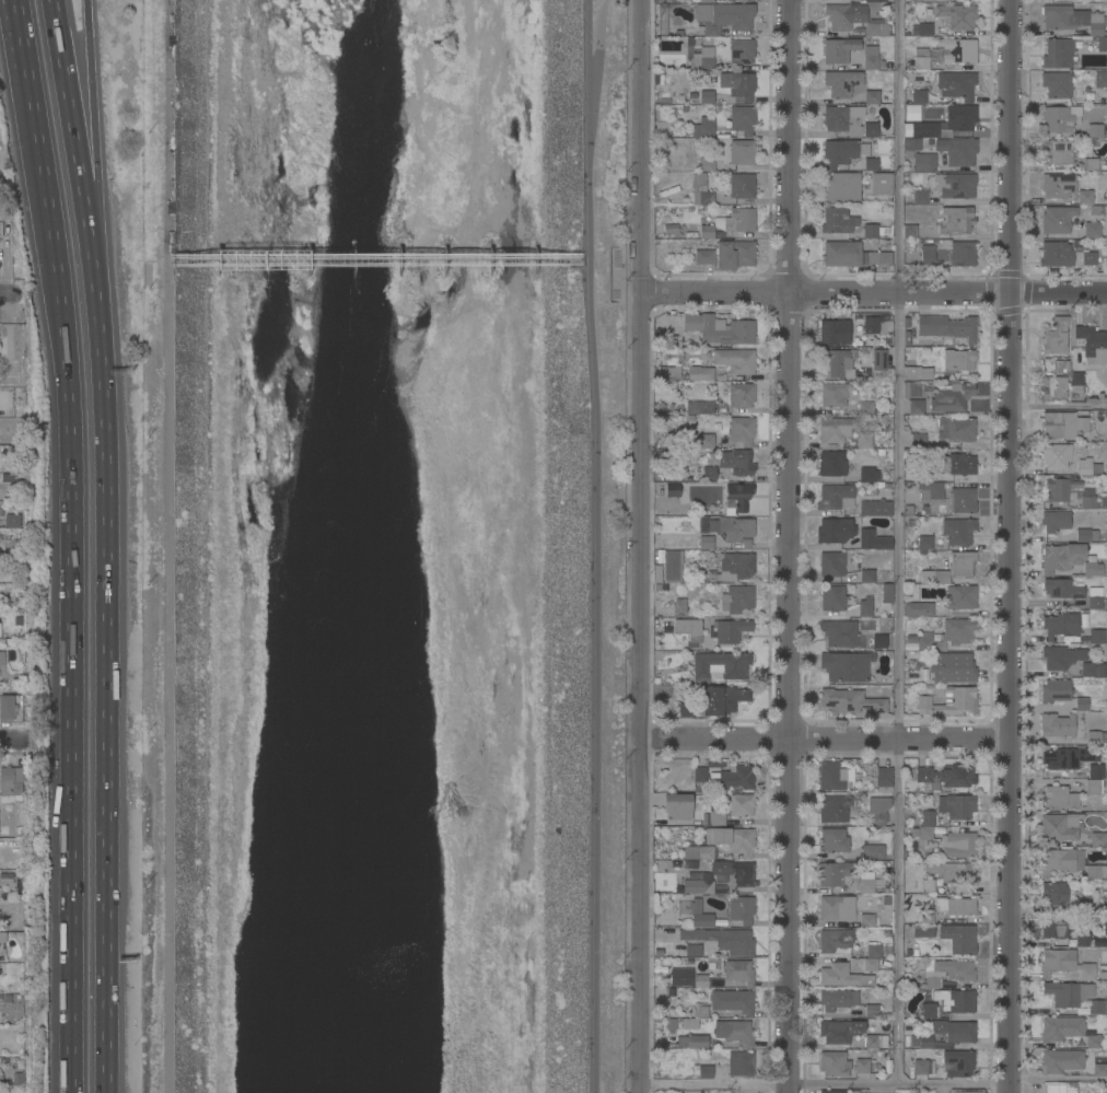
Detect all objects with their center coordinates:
building: (704, 0)
road: (86, 13)
building: (847, 14)
building: (960, 15)
building: (724, 16)
building: (1075, 22)
building: (872, 30)
building: (925, 30)
road: (602, 46)
building: (839, 49)
building: (742, 50)
building: (958, 50)
building: (1059, 53)
building: (703, 59)
building: (921, 59)
building: (871, 62)
road: (28, 74)
road: (20, 77)
building: (1100, 79)
building: (842, 83)
building: (738, 84)
building: (956, 84)
building: (1057, 84)
building: (707, 96)
building: (873, 97)
building: (916, 97)
building: (911, 113)
building: (1060, 118)
building: (742, 119)
building: (841, 120)
building: (945, 124)
building: (703, 127)
building: (871, 129)
building: (1095, 130)
road: (77, 143)
building: (912, 144)
building: (957, 150)
building: (742, 152)
building: (839, 152)
building: (1057, 152)
road: (92, 158)
building: (924, 162)
building: (707, 164)
building: (871, 164)
building: (1091, 164)
building: (882, 184)
building: (953, 185)
building: (1058, 185)
building: (742, 186)
building: (840, 188)
building: (701, 190)
building: (921, 197)
building: (1085, 197)
building: (1057, 219)
building: (956, 220)
building: (737, 221)
building: (838, 221)
building: (0, 228)
building: (871, 230)
building: (1092, 230)
building: (707, 232)
building: (910, 232)
building: (734, 254)
building: (963, 254)
building: (1065, 254)
building: (852, 255)
building: (928, 255)
building: (703, 256)
road: (4, 294)
road: (874, 295)
building: (866, 325)
building: (947, 327)
building: (721, 328)
building: (835, 332)
building: (1054, 337)
building: (15, 344)
building: (1093, 344)
building: (958, 359)
building: (734, 361)
building: (838, 362)
building: (881, 363)
building: (1061, 367)
building: (673, 373)
building: (700, 373)
building: (918, 373)
building: (1076, 381)
building: (1053, 387)
building: (741, 395)
building: (832, 395)
building: (951, 396)
road: (1059, 405)
building: (916, 407)
building: (700, 408)
building: (865, 408)
building: (1082, 423)
building: (1052, 425)
building: (836, 429)
building: (957, 429)
building: (742, 430)
building: (864, 440)
building: (918, 440)
building: (706, 441)
building: (1056, 455)
building: (736, 462)
building: (831, 463)
building: (957, 464)
building: (1086, 468)
building: (1106, 469)
building: (709, 474)
building: (927, 474)
building: (869, 475)
building: (673, 490)
building: (1058, 490)
building: (930, 491)
building: (737, 497)
building: (836, 497)
building: (1088, 499)
building: (962, 500)
building: (1104, 502)
building: (875, 508)
building: (12, 521)
building: (1054, 521)
building: (734, 530)
building: (831, 531)
building: (958, 531)
building: (1083, 535)
building: (873, 540)
building: (689, 543)
road: (898, 543)
building: (924, 544)
road: (168, 546)
river: (384, 546)
road: (597, 546)
road: (641, 546)
road: (788, 546)
road: (1010, 546)
building: (1061, 557)
building: (962, 563)
building: (671, 565)
building: (737, 565)
building: (832, 565)
building: (1092, 567)
building: (866, 575)
building: (934, 577)
building: (1062, 589)
building: (887, 593)
building: (960, 596)
building: (832, 597)
building: (737, 598)
building: (1095, 603)
building: (865, 606)
building: (678, 607)
building: (918, 609)
road: (73, 619)
building: (1060, 625)
building: (0, 629)
building: (689, 630)
building: (729, 630)
building: (957, 631)
building: (839, 632)
building: (1097, 636)
building: (876, 641)
building: (929, 642)
building: (1061, 656)
building: (2, 658)
building: (720, 665)
building: (846, 666)
building: (953, 667)
building: (1087, 670)
building: (1100, 670)
road: (108, 689)
building: (1056, 690)
building: (1106, 690)
building: (722, 699)
building: (850, 701)
building: (949, 701)
building: (1081, 704)
building: (11, 709)
building: (687, 710)
building: (1057, 725)
building: (1094, 737)
road: (825, 740)
road: (10, 742)
building: (1069, 757)
building: (1096, 770)
building: (698, 774)
building: (831, 776)
building: (947, 777)
building: (736, 778)
building: (884, 779)
building: (1106, 779)
building: (11, 786)
building: (1094, 787)
building: (1106, 794)
building: (1060, 798)
building: (741, 804)
building: (677, 806)
building: (959, 806)
building: (834, 809)
building: (878, 810)
building: (718, 817)
building: (925, 826)
building: (1060, 826)
building: (732, 839)
building: (1098, 839)
building: (834, 840)
building: (958, 844)
building: (698, 852)
building: (873, 852)
building: (1069, 863)
building: (952, 872)
building: (836, 873)
building: (741, 876)
building: (866, 882)
building: (929, 886)
building: (1054, 893)
building: (1087, 903)
building: (955, 906)
building: (837, 908)
building: (741, 909)
building: (700, 915)
building: (927, 916)
building: (866, 920)
building: (1056, 926)
building: (1104, 926)
building: (922, 930)
building: (2, 938)
building: (959, 938)
building: (1083, 939)
building: (723, 940)
building: (835, 940)
building: (694, 950)
building: (874, 951)
building: (872, 964)
building: (1064, 964)
building: (955, 969)
building: (738, 972)
building: (842, 976)
building: (681, 977)
building: (701, 980)
building: (715, 982)
building: (931, 982)
building: (1068, 993)
building: (836, 1000)
building: (733, 1001)
building: (962, 1001)
building: (1097, 1007)
building: (929, 1010)
building: (701, 1011)
building: (872, 1011)
building: (689, 1023)
building: (840, 1031)
building: (955, 1031)
building: (1068, 1031)
building: (735, 1032)
building: (877, 1040)
building: (921, 1040)
building: (698, 1042)
building: (958, 1062)
building: (1069, 1062)
building: (741, 1063)
building: (834, 1063)
building: (864, 1065)
building: (921, 1067)
building: (706, 1071)
building: (1, 1077)
road: (1057, 1079)
road: (824, 1085)
building: (1059, 1088)
building: (832, 1091)
building: (700, 1092)
building: (854, 1092)
building: (964, 1092)

